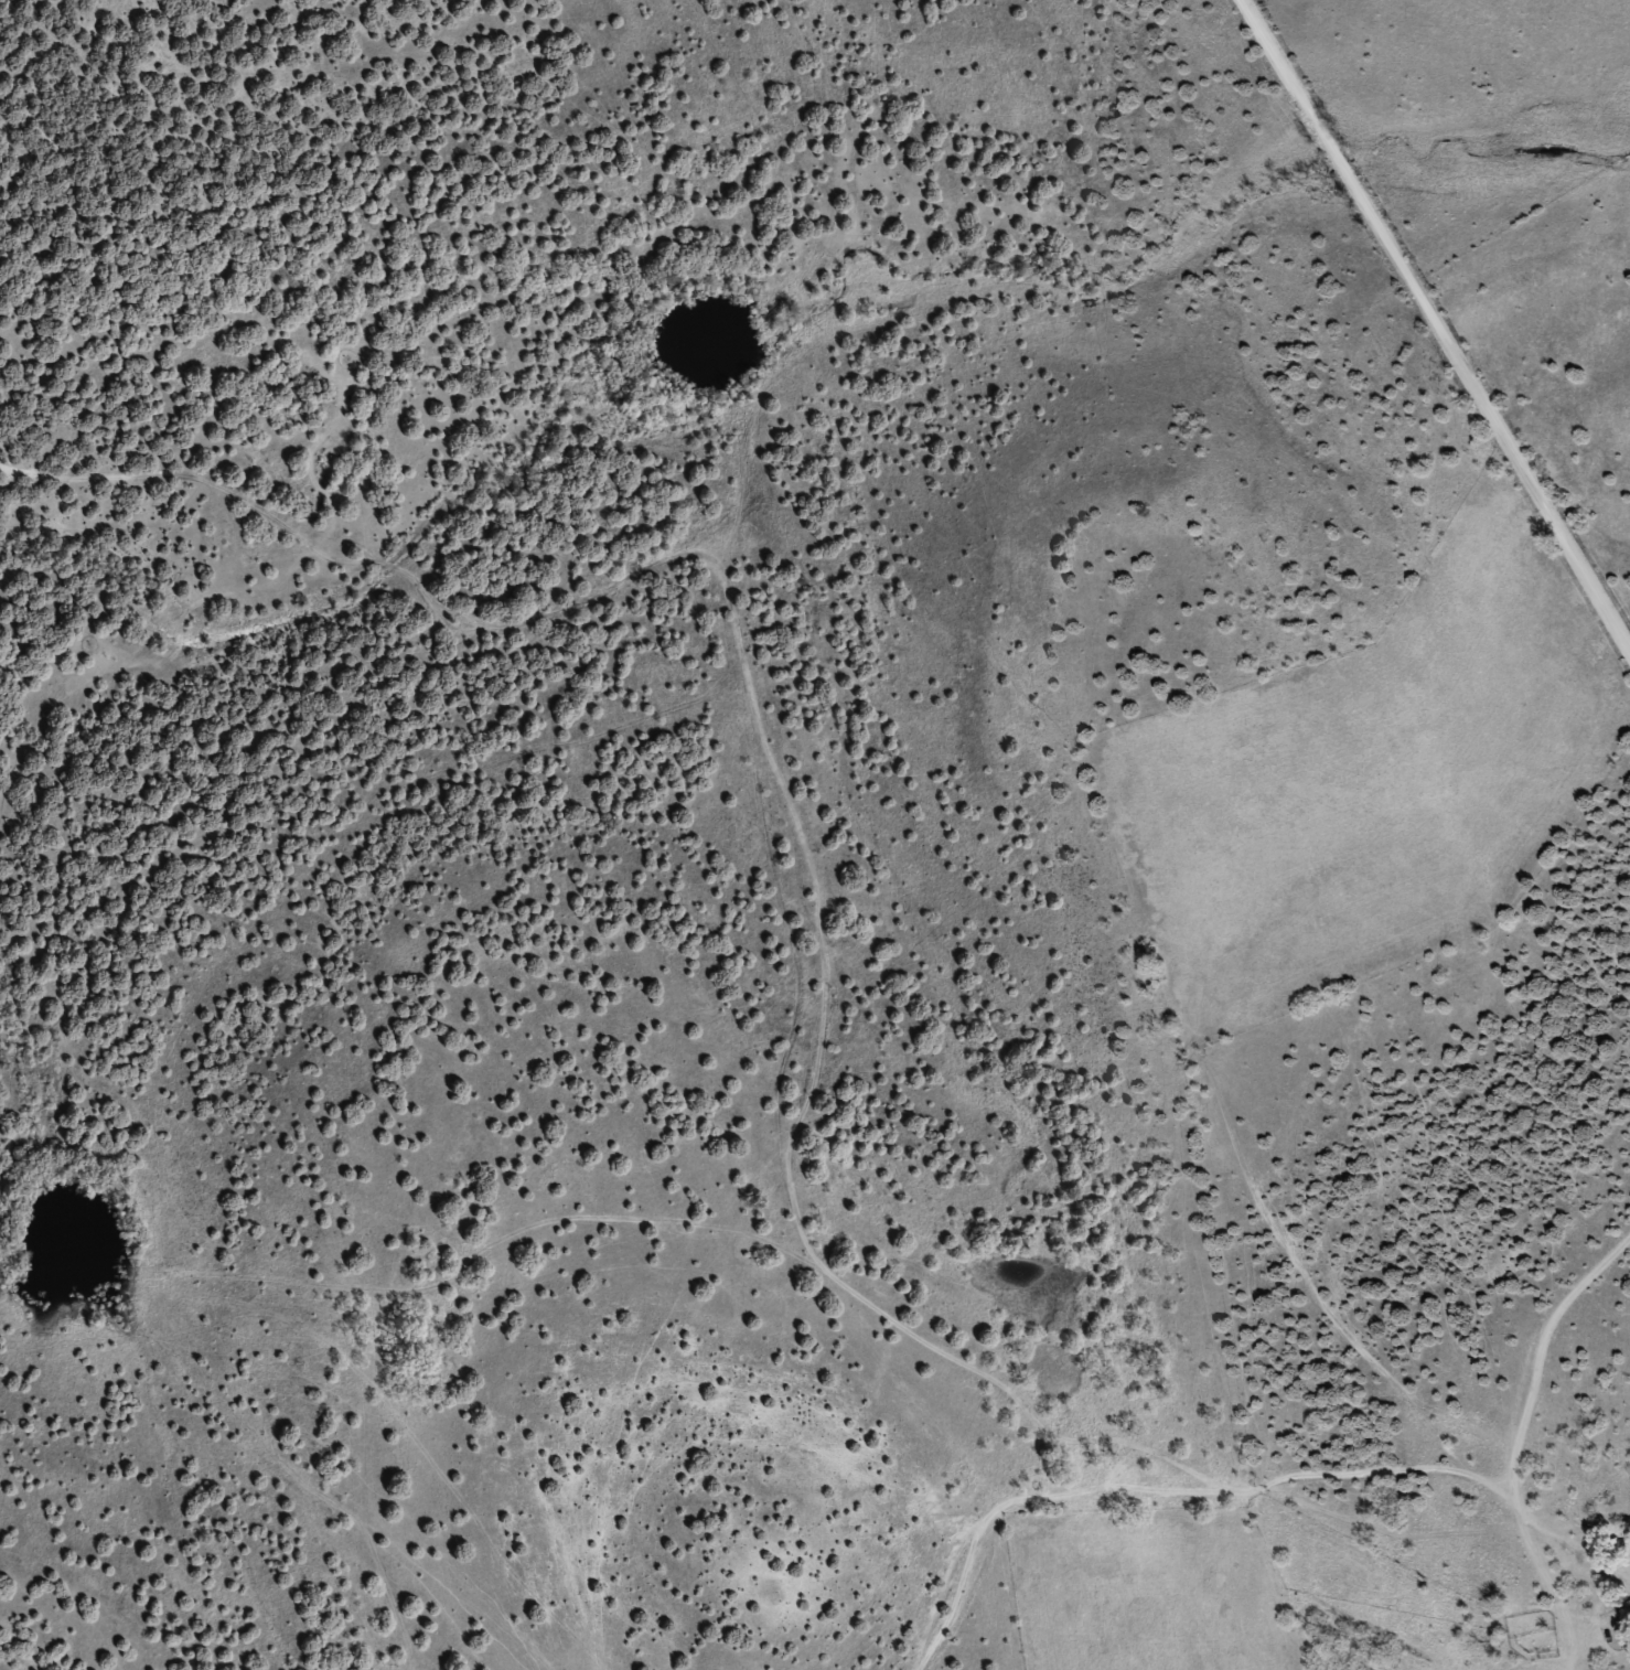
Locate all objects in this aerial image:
road: (1434, 332)

